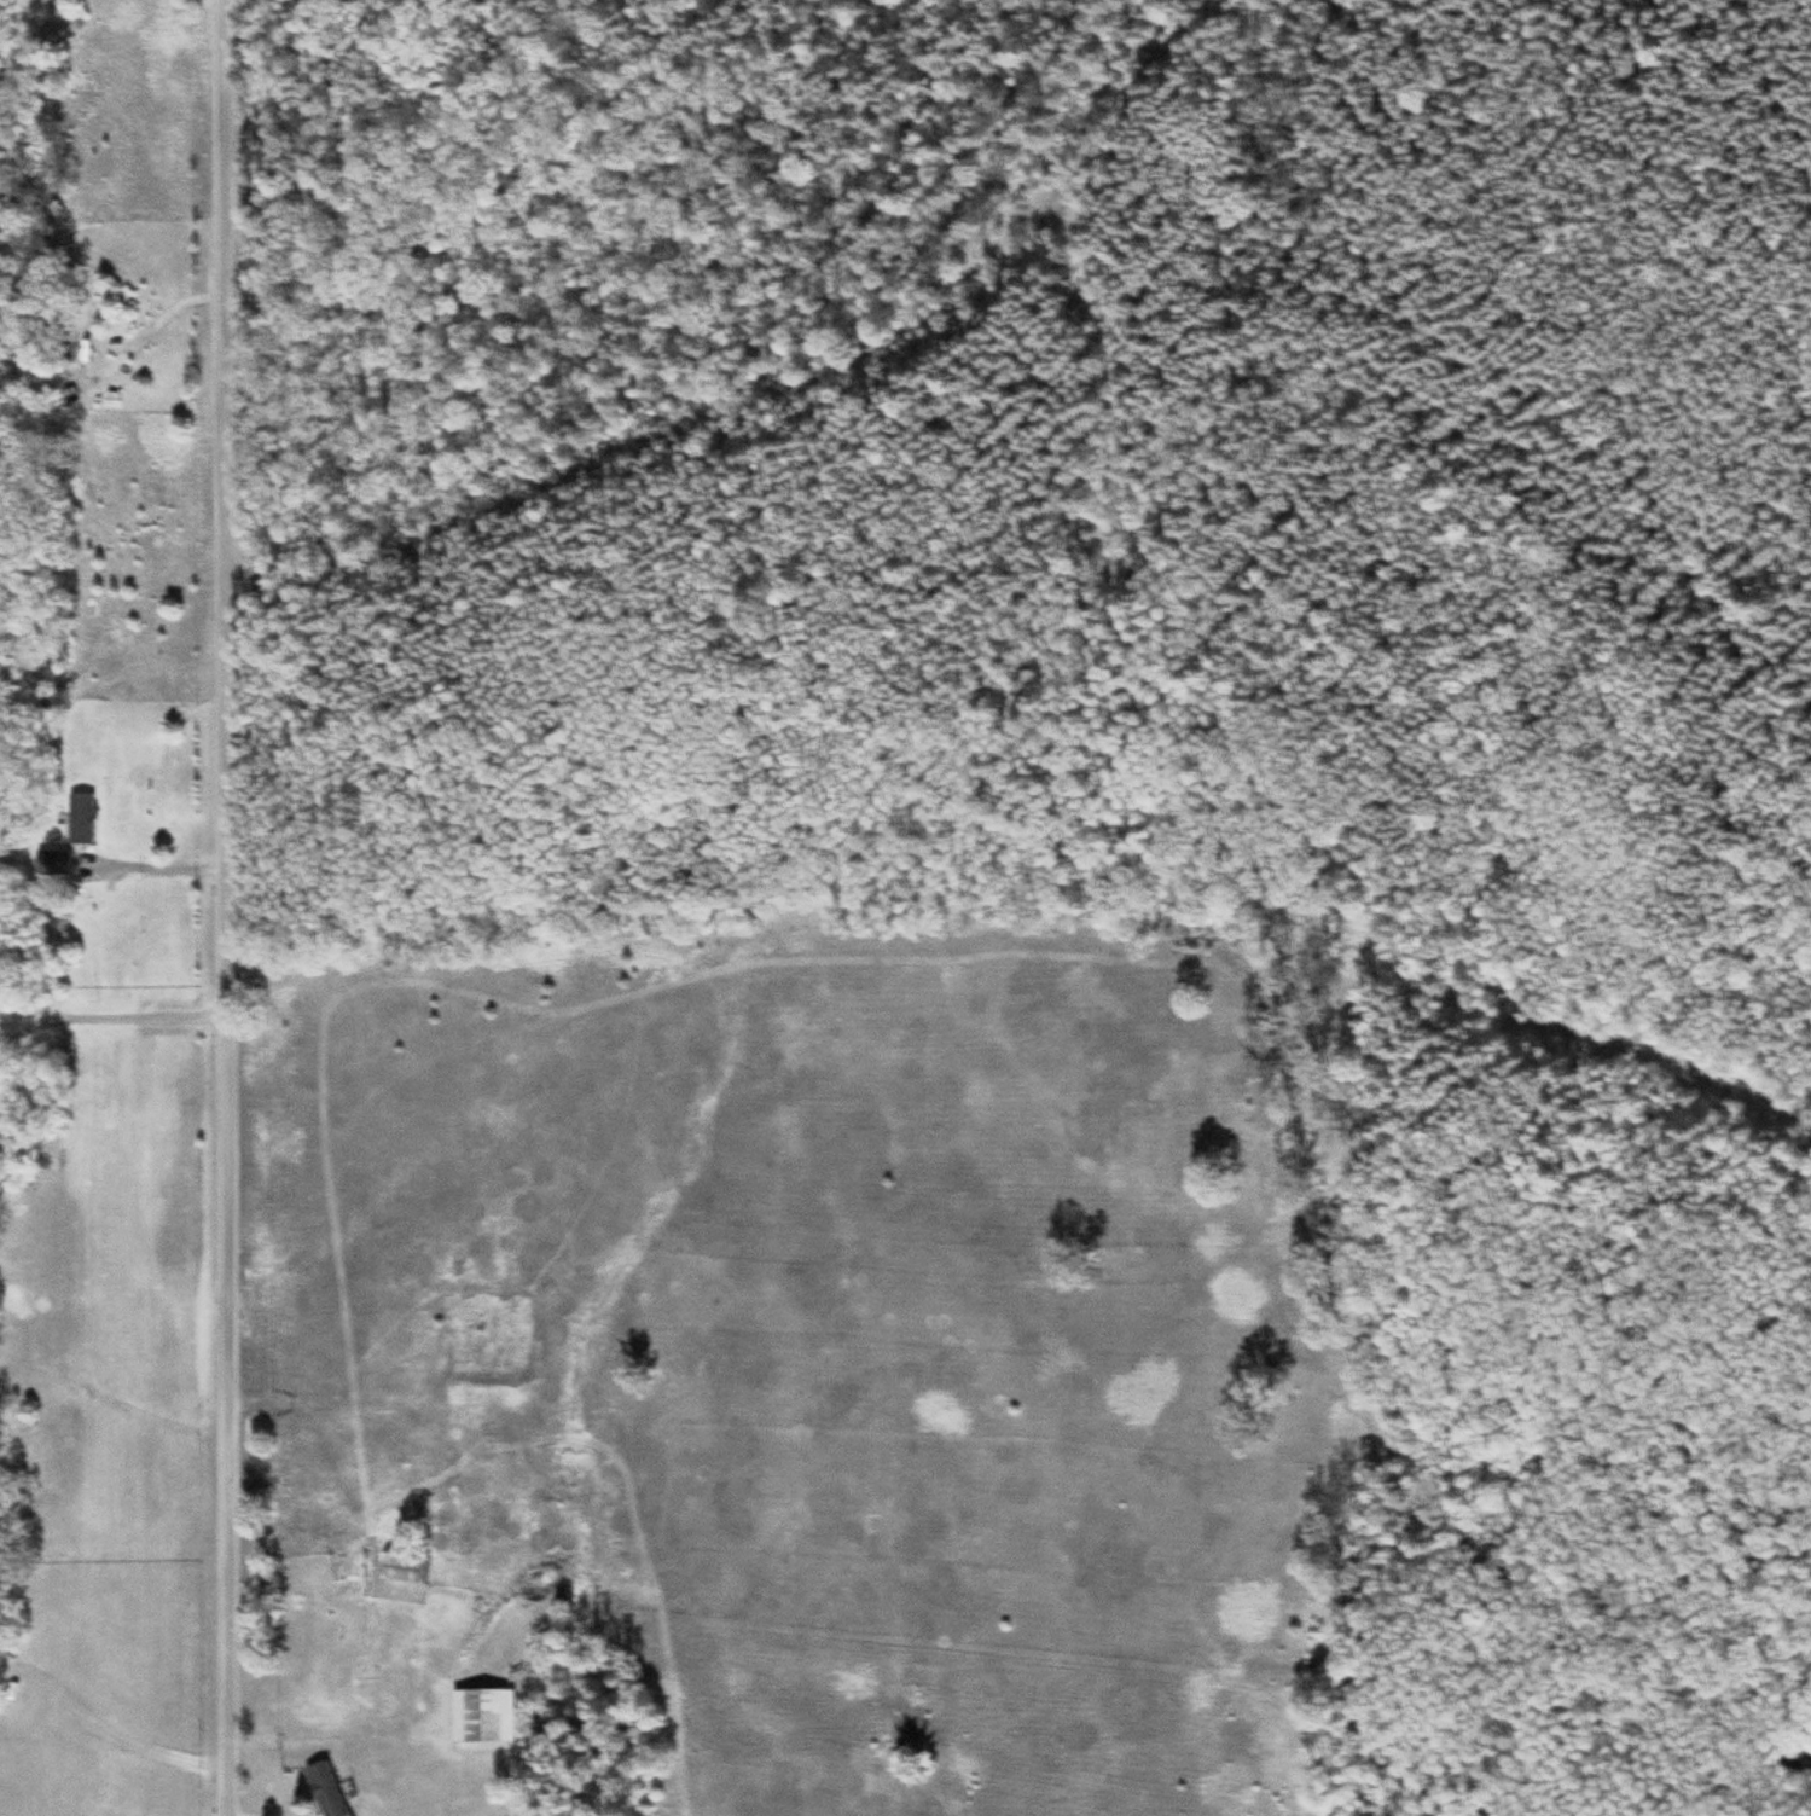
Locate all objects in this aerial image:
building: (83, 822)
building: (54, 865)
road: (232, 907)
building: (406, 1571)
building: (484, 1717)
building: (326, 1791)

